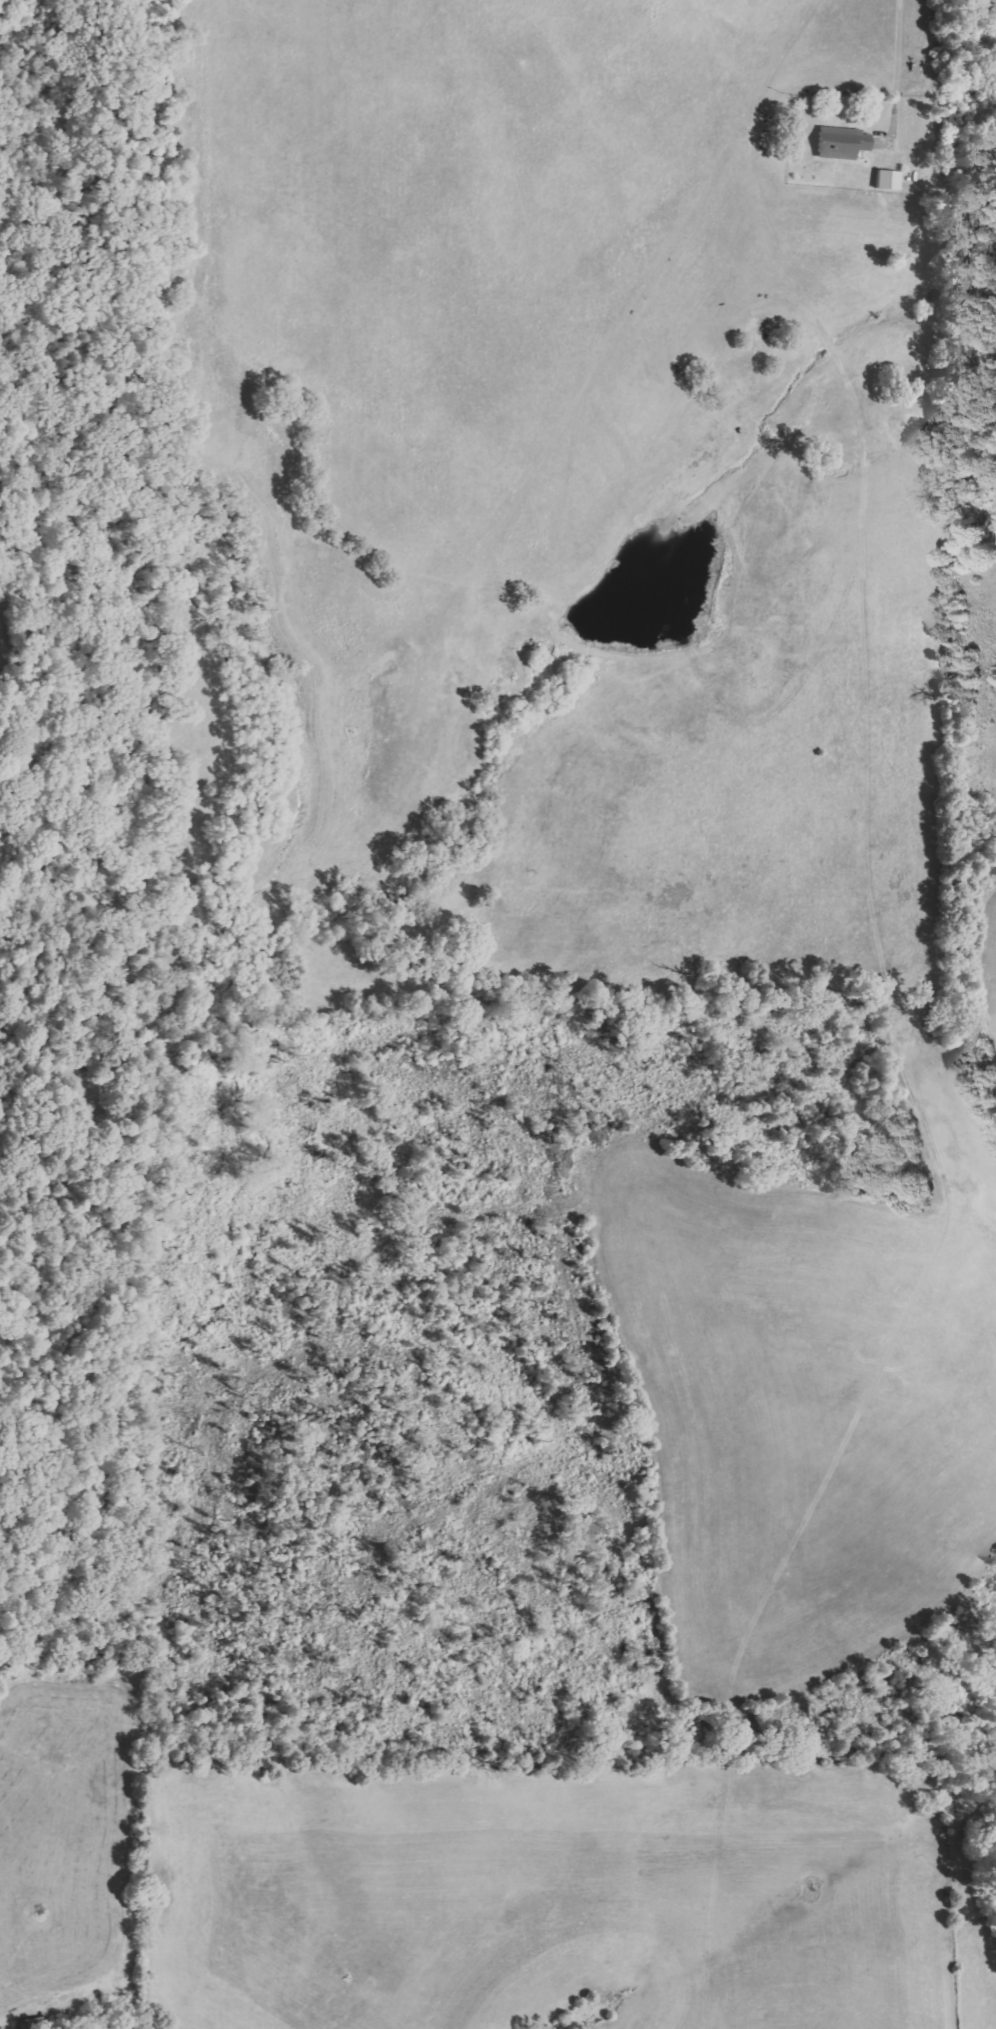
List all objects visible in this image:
road: (896, 12)
building: (840, 143)
building: (885, 180)

